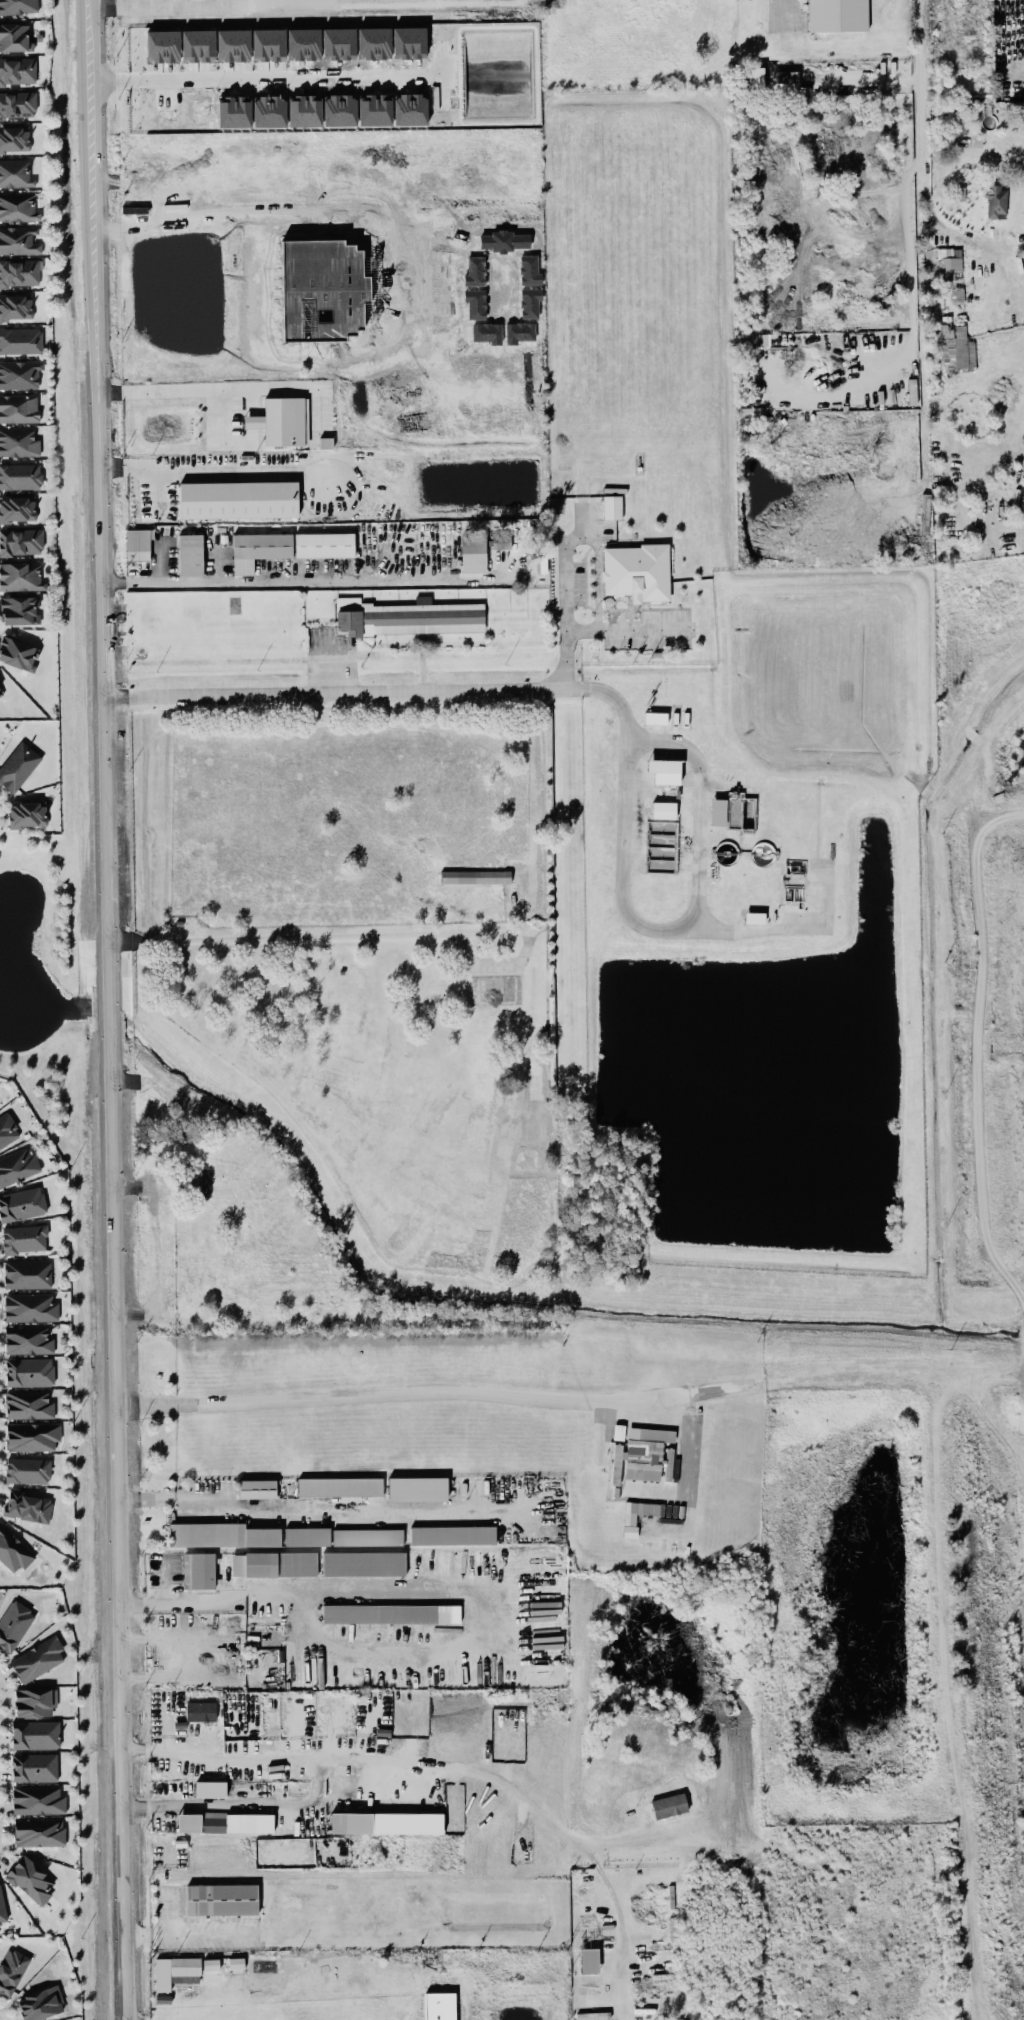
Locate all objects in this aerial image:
road: (121, 3)
building: (17, 6)
road: (175, 7)
road: (784, 11)
building: (837, 15)
building: (15, 36)
building: (197, 44)
building: (232, 44)
building: (268, 44)
building: (162, 45)
building: (17, 70)
road: (262, 79)
building: (786, 82)
building: (17, 104)
building: (304, 110)
building: (14, 138)
road: (923, 160)
building: (15, 172)
building: (996, 201)
building: (18, 205)
building: (134, 209)
building: (18, 239)
building: (504, 240)
building: (948, 264)
building: (529, 270)
building: (474, 271)
building: (19, 272)
building: (957, 295)
building: (530, 302)
building: (475, 303)
building: (15, 306)
building: (519, 331)
building: (487, 332)
building: (20, 339)
building: (956, 348)
building: (20, 373)
road: (186, 389)
building: (18, 407)
building: (282, 421)
building: (19, 440)
building: (20, 475)
building: (238, 499)
building: (612, 506)
building: (17, 508)
building: (21, 541)
building: (501, 541)
building: (137, 544)
building: (324, 544)
building: (258, 549)
building: (473, 553)
building: (190, 554)
building: (636, 571)
building: (20, 575)
road: (298, 579)
building: (19, 609)
building: (408, 616)
road: (643, 627)
building: (18, 652)
road: (333, 691)
building: (0, 692)
building: (0, 694)
building: (655, 717)
building: (17, 764)
building: (664, 771)
road: (626, 778)
building: (663, 809)
building: (26, 813)
building: (742, 816)
building: (475, 876)
building: (753, 917)
road: (790, 929)
road: (330, 934)
road: (106, 1010)
landfill: (982, 1064)
building: (7, 1129)
building: (17, 1165)
building: (196, 1178)
building: (22, 1203)
building: (23, 1238)
building: (26, 1273)
building: (29, 1306)
building: (27, 1339)
building: (29, 1370)
road: (513, 1395)
building: (28, 1403)
building: (32, 1435)
building: (642, 1457)
building: (27, 1469)
building: (339, 1486)
building: (257, 1488)
building: (417, 1488)
road: (312, 1504)
building: (27, 1505)
building: (630, 1520)
building: (206, 1533)
building: (453, 1534)
building: (262, 1536)
building: (307, 1536)
building: (367, 1536)
building: (13, 1549)
building: (274, 1563)
building: (363, 1563)
building: (198, 1570)
road: (167, 1579)
road: (181, 1599)
building: (391, 1613)
road: (485, 1617)
building: (13, 1623)
building: (37, 1658)
building: (35, 1701)
building: (200, 1710)
building: (34, 1733)
building: (33, 1766)
road: (456, 1766)
building: (210, 1788)
building: (37, 1799)
road: (239, 1803)
building: (668, 1805)
building: (189, 1822)
building: (238, 1822)
building: (351, 1822)
building: (38, 1831)
building: (30, 1878)
building: (222, 1898)
building: (2, 1909)
building: (589, 1959)
building: (236, 1962)
building: (211, 1963)
building: (11, 1968)
building: (176, 1971)
building: (40, 2002)
building: (439, 2006)
building: (592, 2015)

